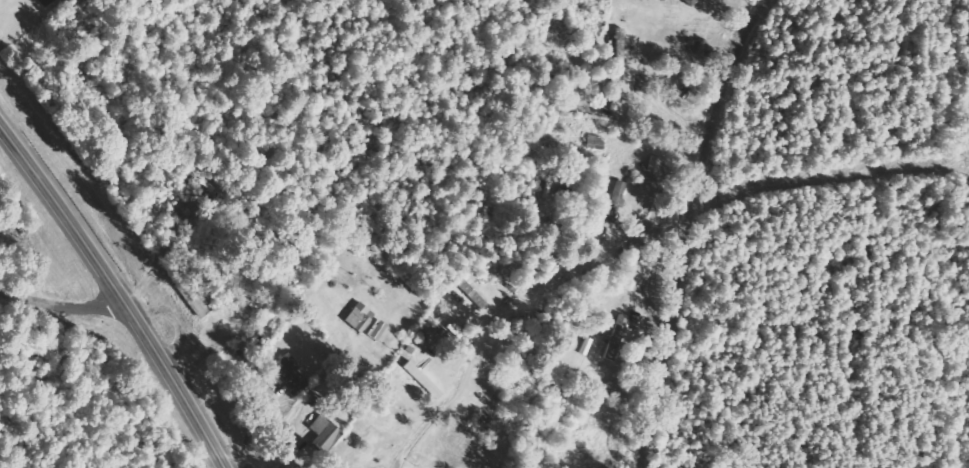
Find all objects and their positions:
building: (43, 2)
building: (618, 46)
building: (609, 206)
road: (685, 227)
road: (120, 288)
road: (64, 305)
building: (358, 318)
building: (374, 331)
building: (289, 374)
building: (422, 381)
building: (324, 437)

